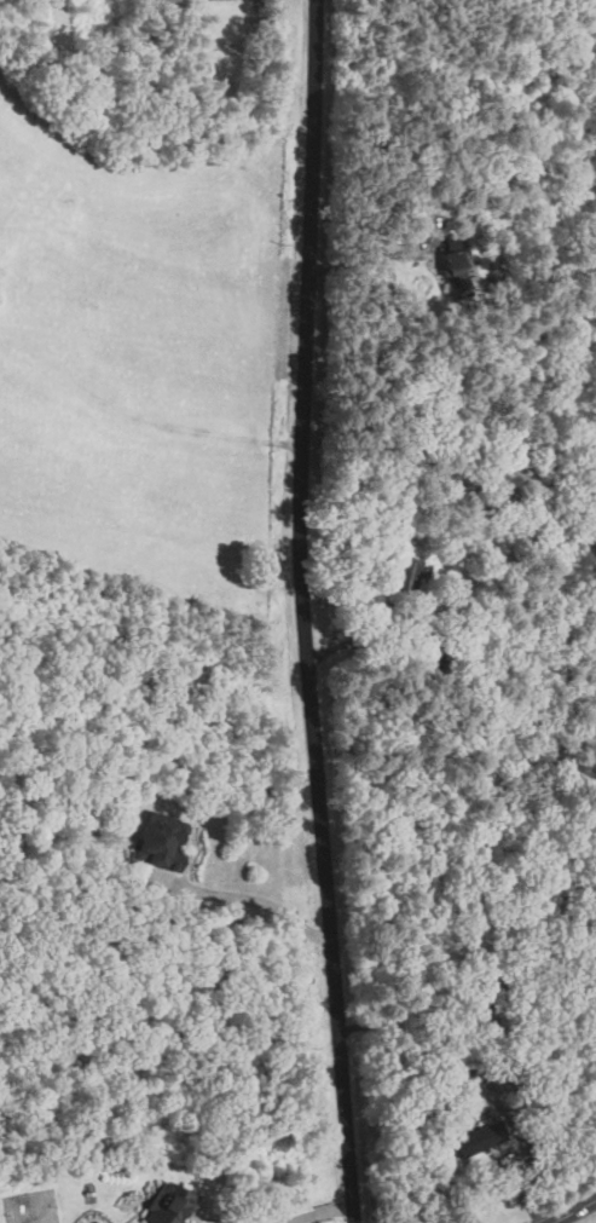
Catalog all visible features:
road: (358, 254)
building: (447, 261)
building: (409, 575)
road: (299, 612)
building: (156, 838)
road: (261, 904)
road: (411, 1020)
building: (169, 1202)
road: (573, 1211)
road: (316, 1212)

